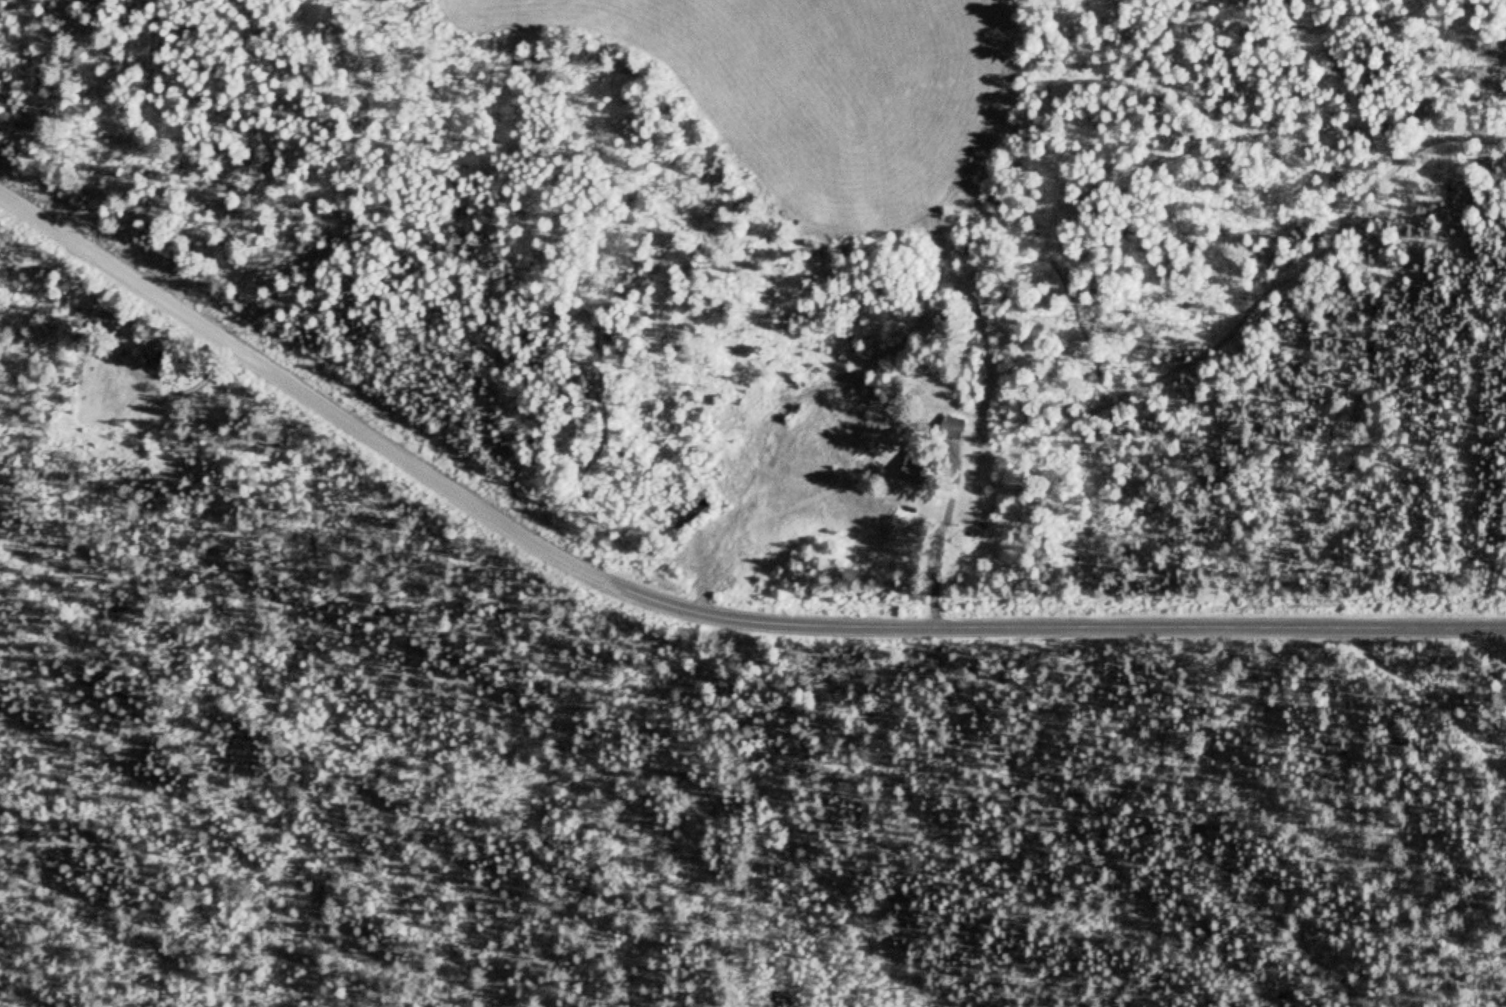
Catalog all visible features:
building: (101, 315)
building: (917, 465)
road: (693, 609)

